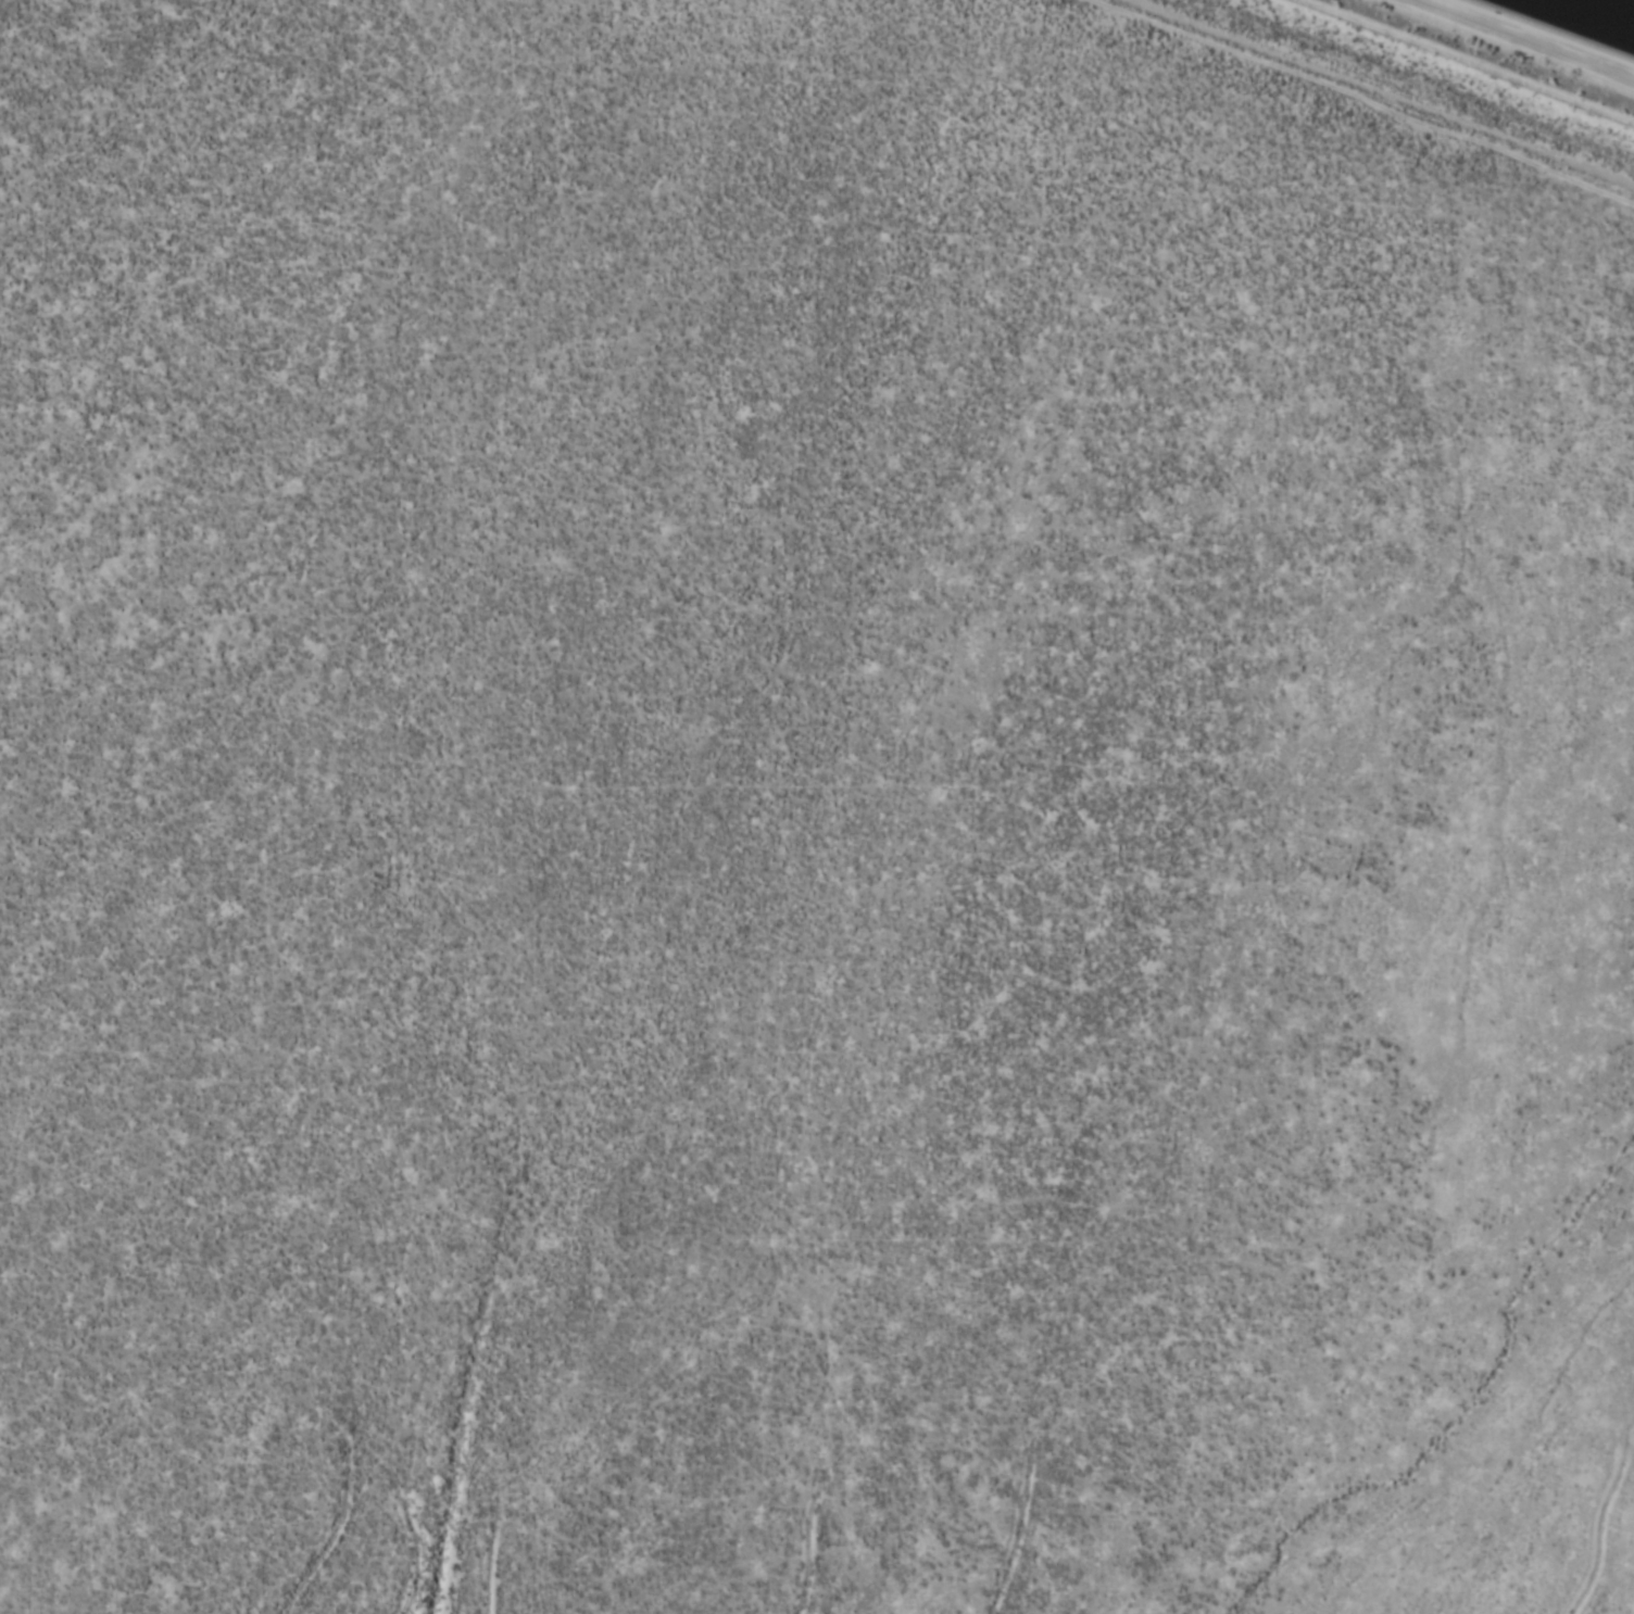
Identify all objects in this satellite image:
road: (1436, 79)

